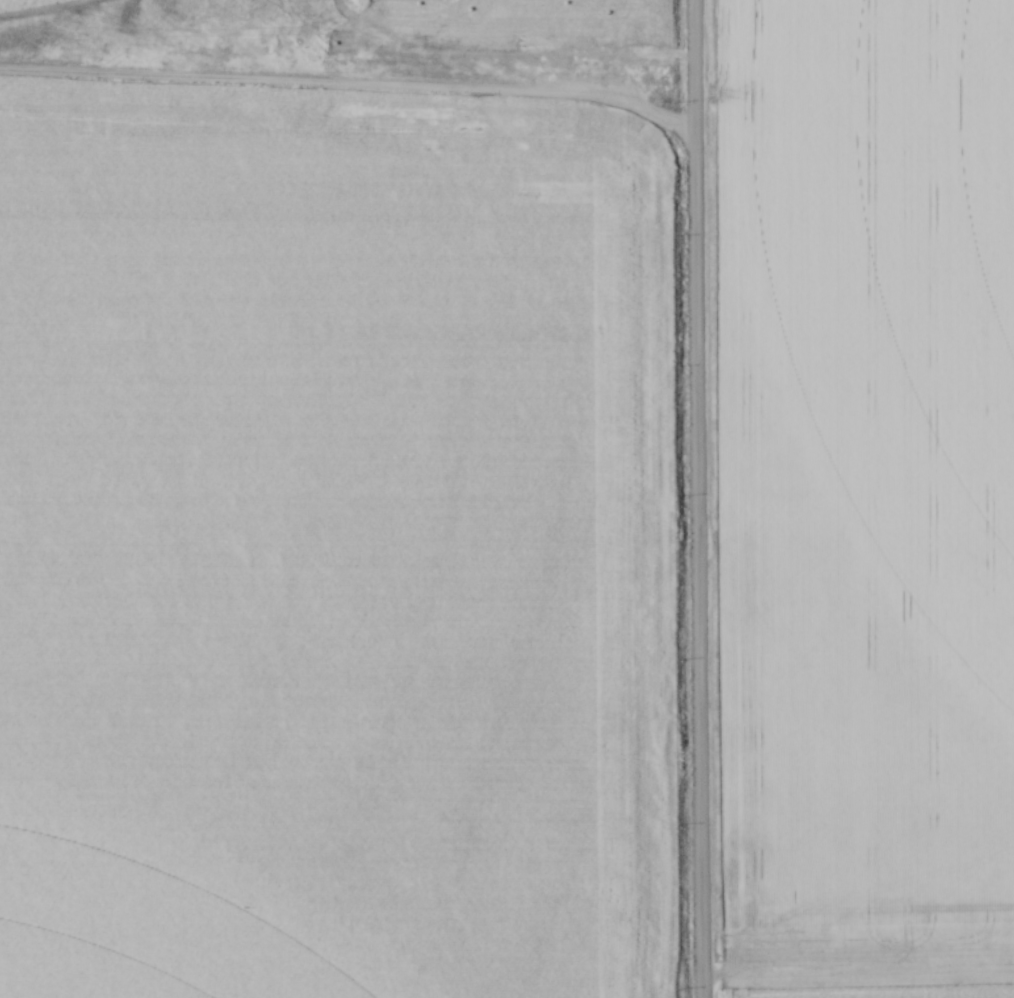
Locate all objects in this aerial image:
road: (692, 499)

